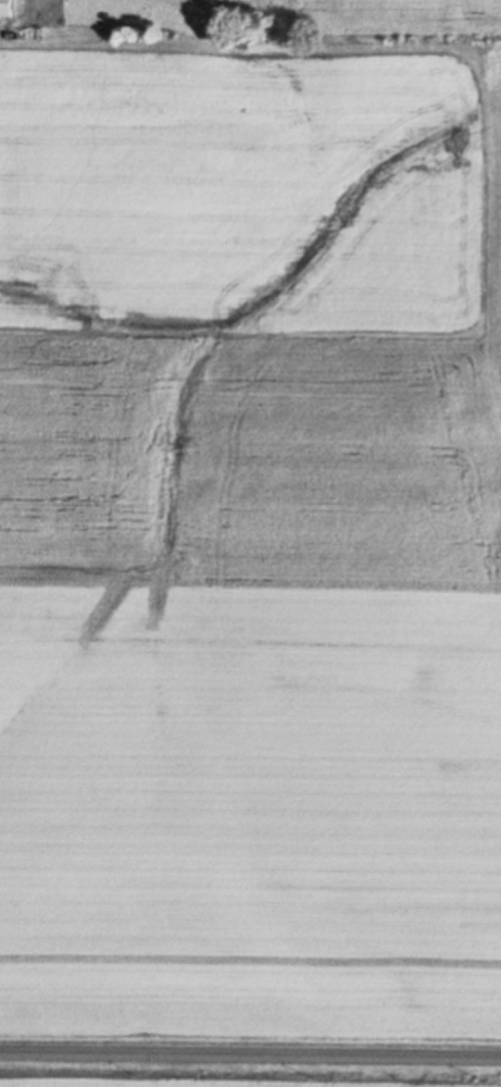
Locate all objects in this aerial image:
building: (4, 8)
road: (250, 1050)

